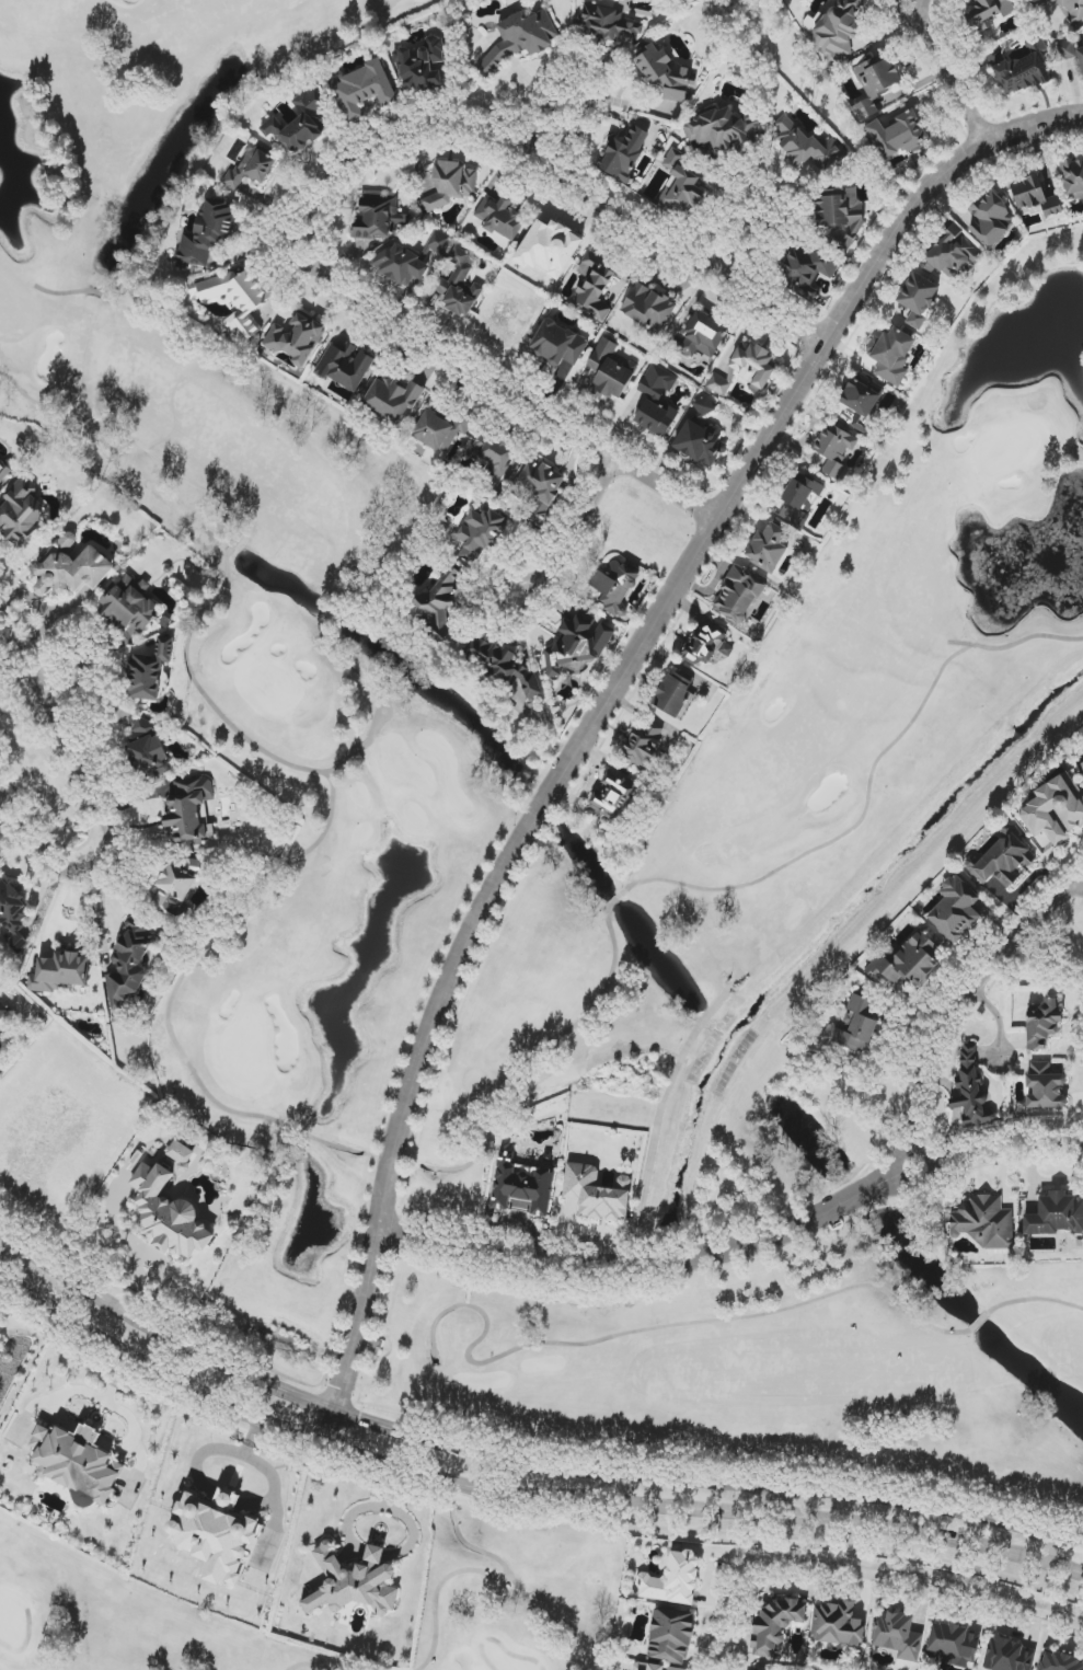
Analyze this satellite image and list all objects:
building: (1072, 10)
building: (988, 13)
building: (608, 25)
building: (838, 30)
building: (519, 39)
building: (1065, 50)
building: (1081, 56)
building: (422, 67)
building: (1024, 71)
road: (949, 72)
building: (665, 73)
building: (876, 84)
building: (365, 90)
road: (551, 102)
building: (299, 124)
building: (721, 129)
building: (898, 135)
building: (808, 147)
building: (623, 154)
building: (672, 160)
building: (252, 166)
road: (332, 176)
building: (1073, 180)
building: (450, 185)
building: (682, 194)
building: (1035, 197)
building: (377, 217)
building: (499, 217)
building: (839, 219)
building: (991, 219)
road: (742, 227)
building: (206, 234)
building: (550, 249)
building: (949, 252)
building: (401, 264)
building: (807, 272)
building: (458, 286)
building: (594, 286)
building: (238, 299)
building: (919, 299)
building: (648, 308)
building: (297, 338)
building: (557, 344)
building: (894, 355)
building: (345, 367)
building: (745, 368)
building: (610, 371)
building: (862, 395)
building: (393, 400)
building: (657, 402)
building: (636, 404)
building: (703, 408)
building: (439, 430)
building: (700, 442)
building: (494, 457)
building: (4, 472)
building: (540, 488)
building: (800, 499)
building: (21, 512)
building: (481, 532)
road: (571, 534)
building: (768, 548)
building: (72, 569)
building: (615, 587)
building: (738, 596)
park: (934, 602)
building: (437, 604)
building: (130, 606)
building: (707, 644)
building: (578, 645)
building: (502, 665)
building: (149, 670)
building: (675, 693)
road: (602, 707)
building: (645, 744)
building: (148, 752)
building: (1082, 764)
building: (612, 794)
road: (111, 795)
building: (1056, 809)
building: (191, 810)
building: (1003, 862)
building: (173, 892)
building: (11, 909)
building: (955, 909)
building: (129, 963)
building: (61, 972)
road: (958, 1021)
building: (856, 1024)
building: (1044, 1024)
road: (1002, 1034)
building: (0, 1043)
building: (1045, 1087)
building: (970, 1089)
road: (659, 1114)
building: (186, 1158)
road: (999, 1158)
building: (523, 1187)
building: (597, 1193)
building: (169, 1214)
building: (1056, 1214)
building: (984, 1223)
road: (120, 1232)
road: (656, 1265)
road: (87, 1392)
park: (715, 1408)
road: (135, 1432)
road: (90, 1435)
road: (217, 1449)
building: (77, 1462)
road: (519, 1463)
road: (275, 1484)
road: (520, 1496)
road: (229, 1498)
road: (780, 1499)
building: (217, 1535)
road: (1052, 1555)
road: (864, 1574)
building: (673, 1580)
building: (354, 1582)
park: (122, 1620)
building: (837, 1624)
building: (775, 1625)
building: (897, 1634)
building: (670, 1635)
building: (954, 1645)
building: (1009, 1655)
building: (1059, 1662)
building: (657, 1667)

